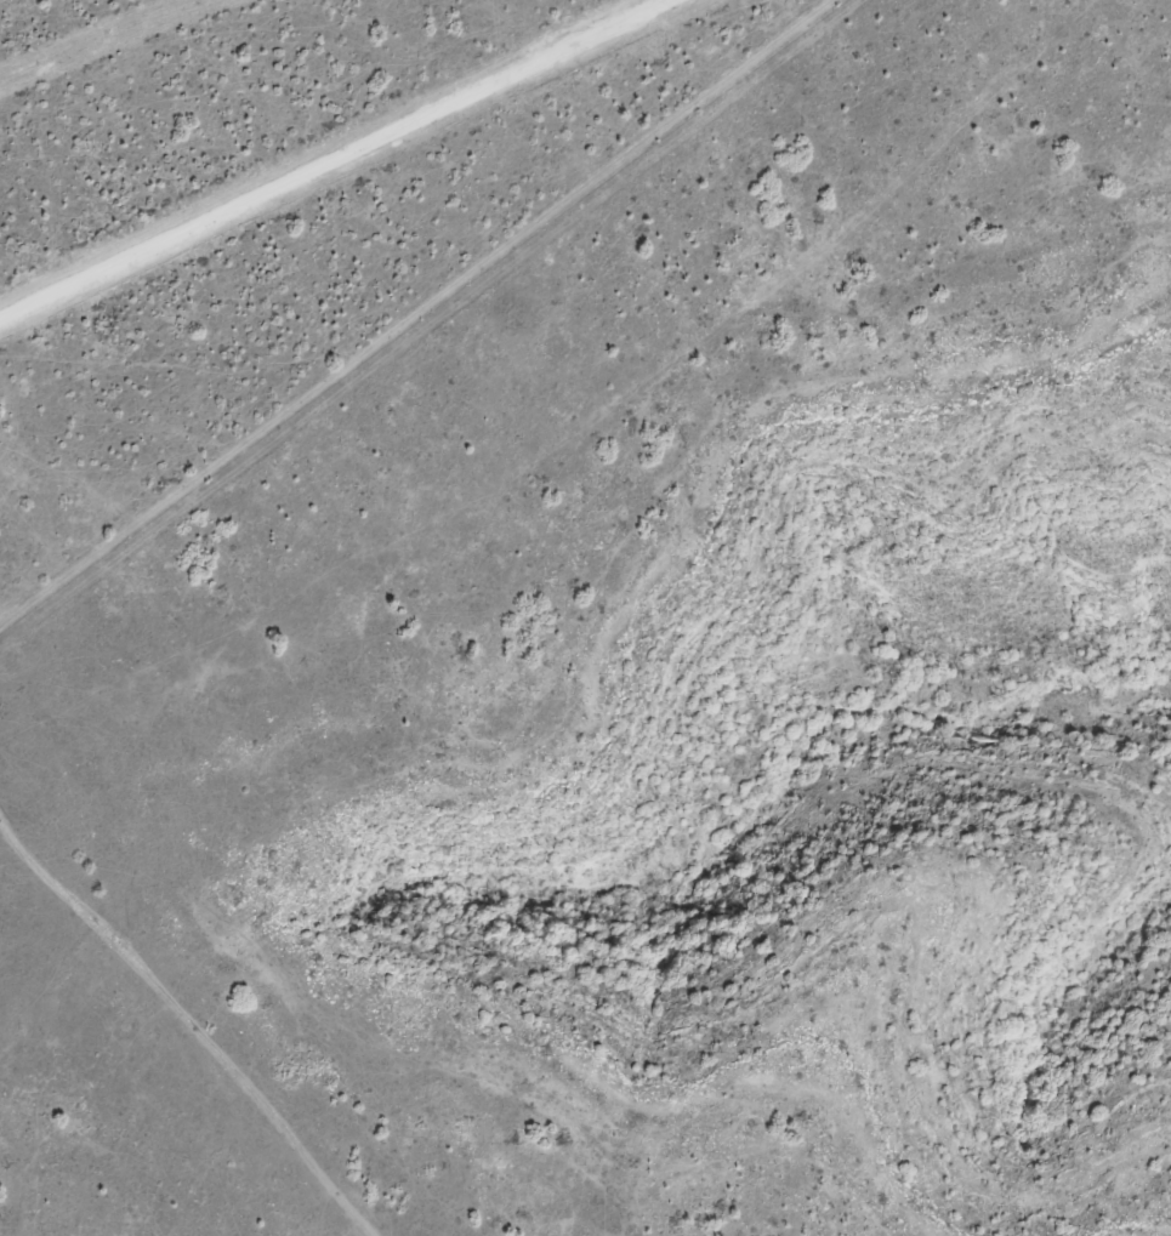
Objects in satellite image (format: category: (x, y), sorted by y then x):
road: (200, 981)

